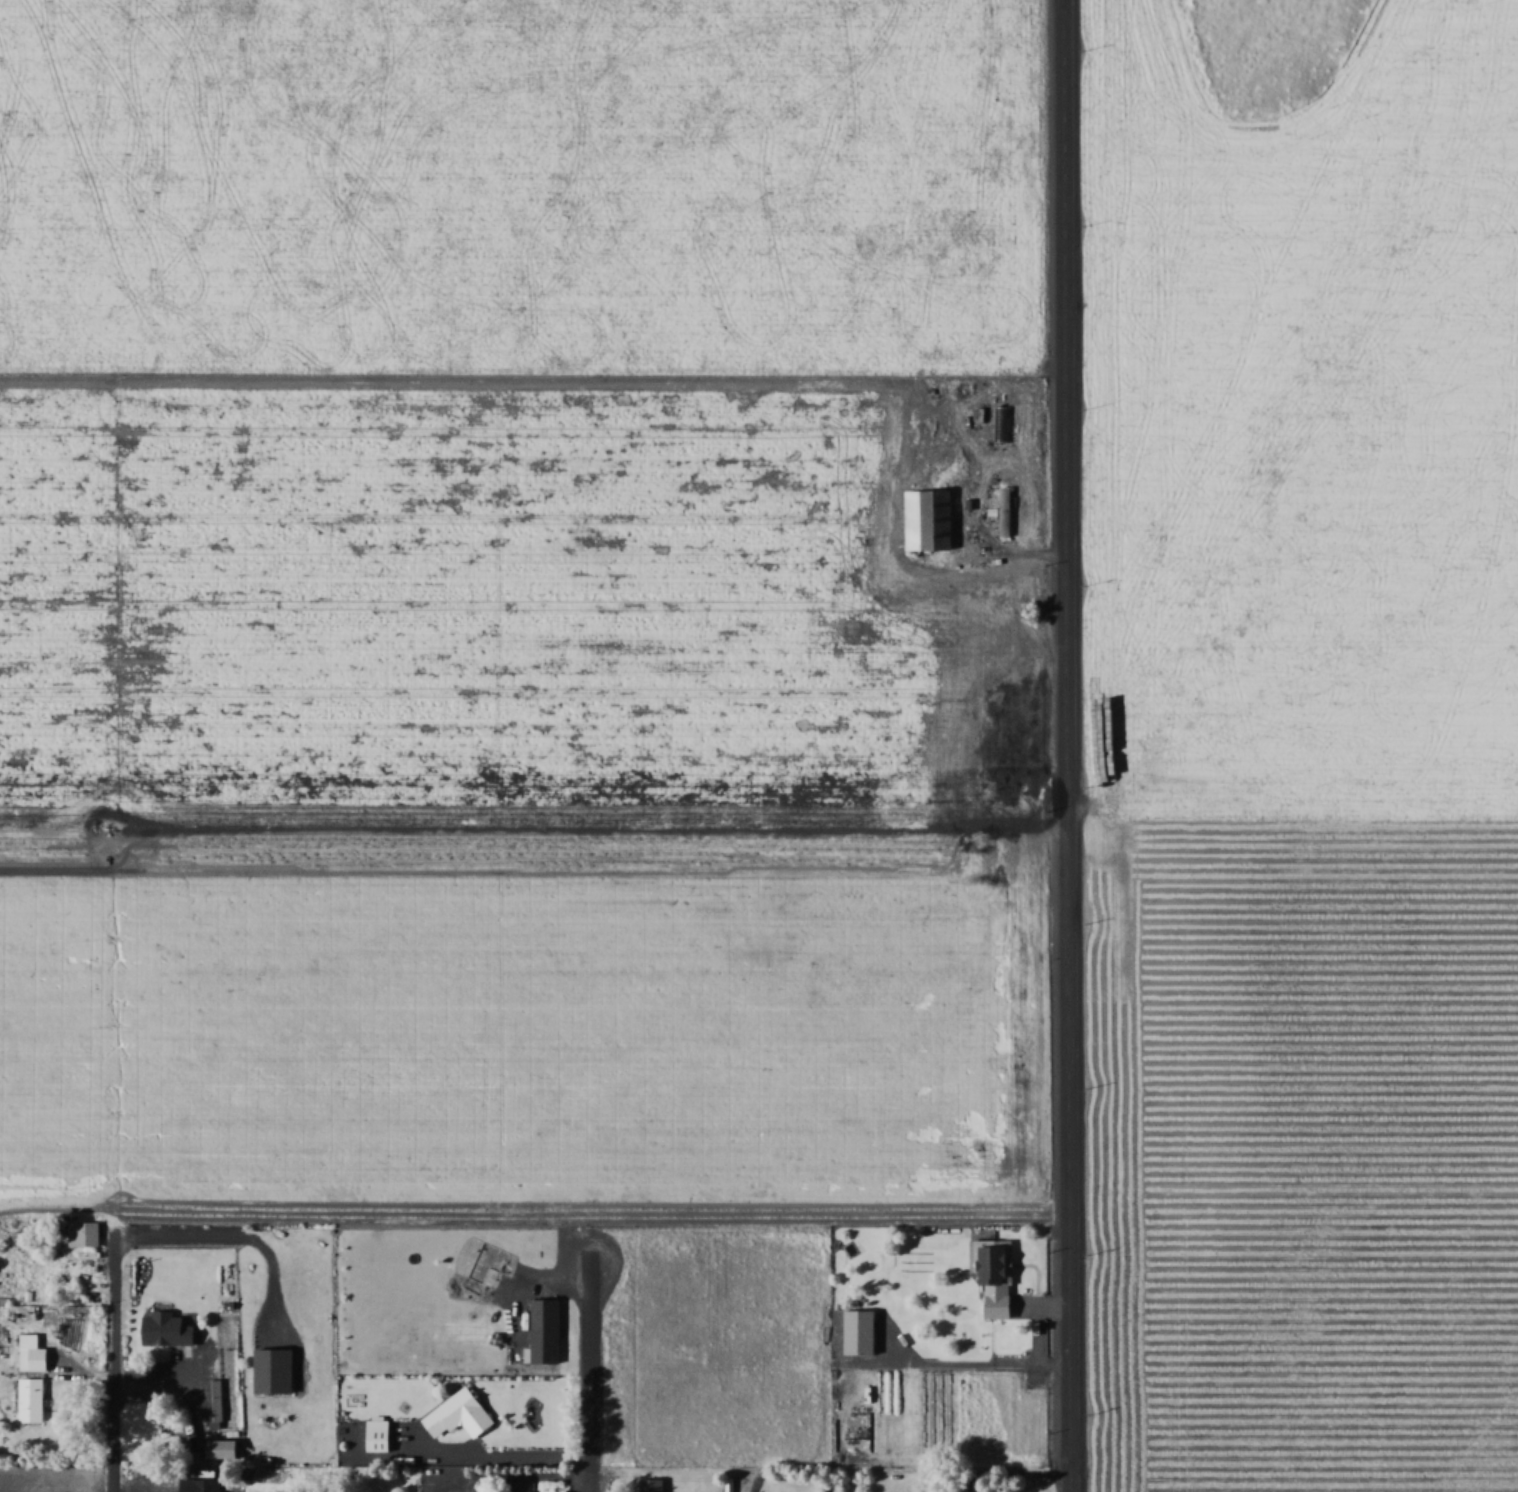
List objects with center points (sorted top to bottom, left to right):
building: (1002, 422)
building: (1007, 510)
building: (928, 517)
road: (1065, 746)
crop: (535, 1017)
crop: (1293, 1152)
building: (86, 1233)
building: (1000, 1278)
building: (861, 1332)
building: (547, 1343)
building: (35, 1359)
road: (112, 1364)
building: (193, 1364)
building: (275, 1370)
road: (591, 1378)
building: (34, 1399)
building: (215, 1400)
building: (237, 1412)
building: (381, 1434)
building: (655, 1484)
building: (201, 1485)
building: (524, 1486)
building: (956, 1490)

